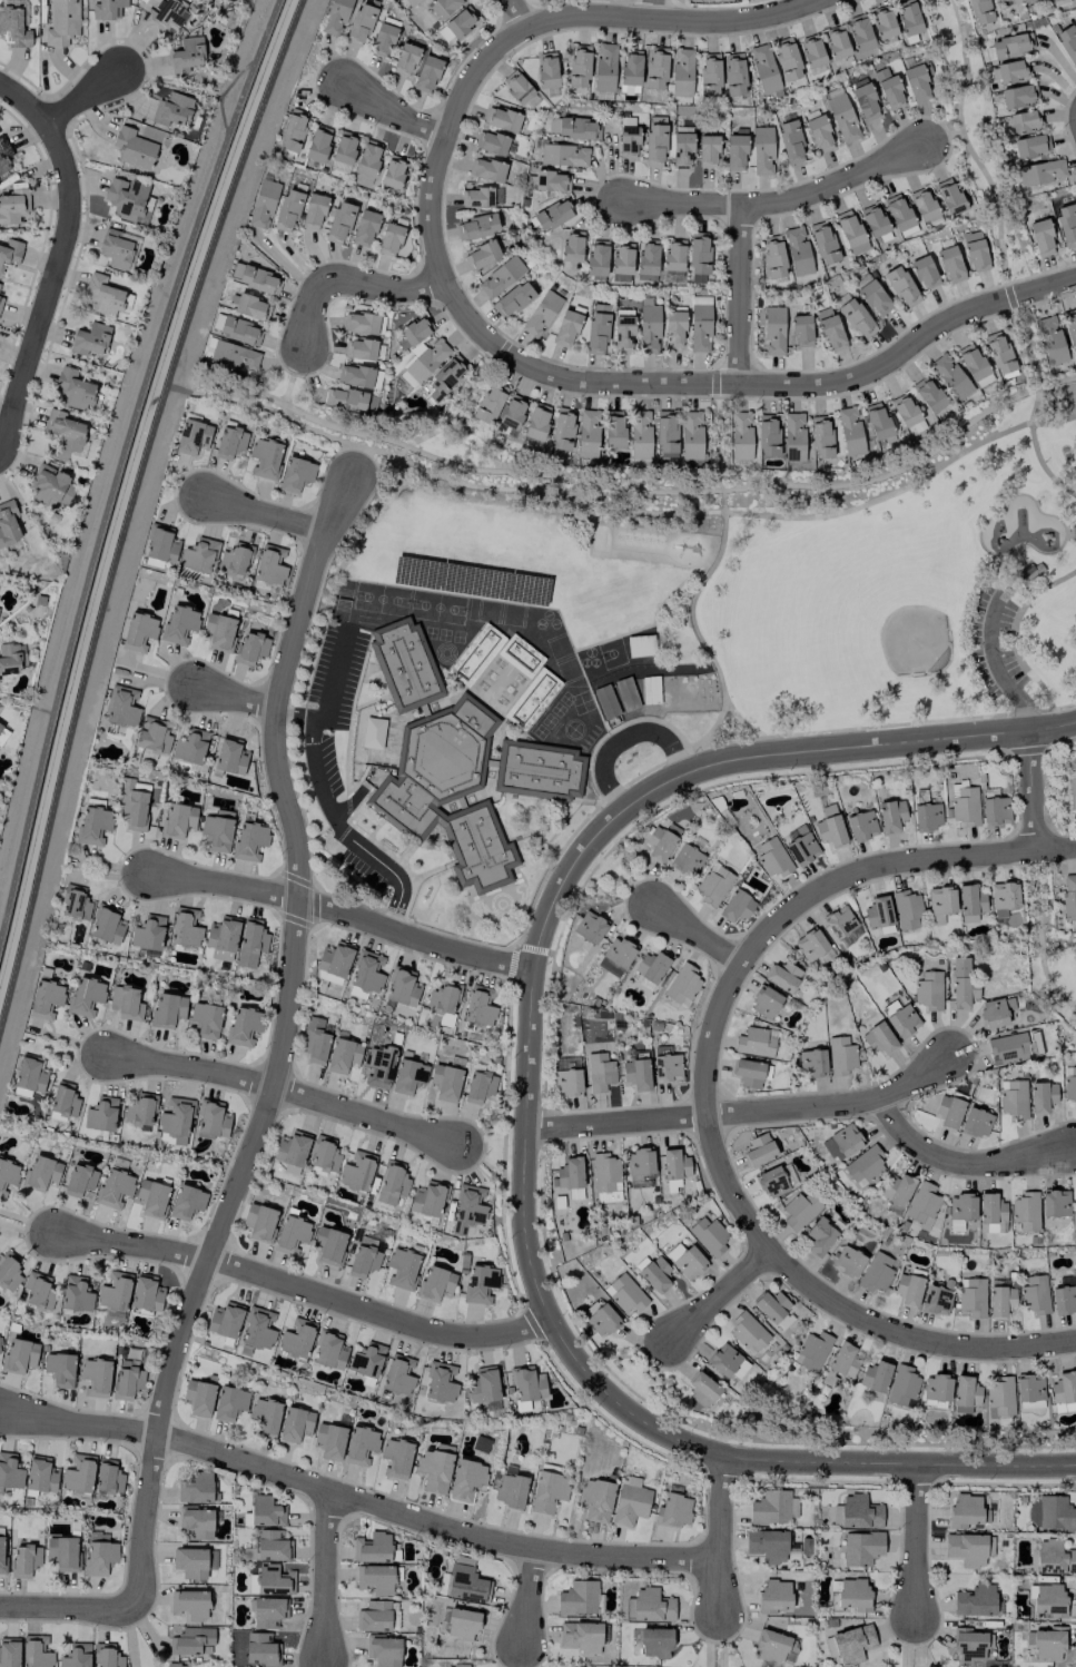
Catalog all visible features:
building: (995, 0)
building: (1023, 0)
building: (409, 1)
building: (1056, 2)
building: (442, 8)
road: (655, 8)
building: (107, 9)
building: (978, 11)
road: (517, 12)
building: (164, 16)
road: (665, 16)
building: (335, 17)
building: (907, 17)
building: (460, 21)
building: (882, 21)
building: (61, 22)
building: (359, 24)
building: (443, 32)
building: (859, 32)
building: (382, 39)
building: (836, 42)
building: (1067, 43)
building: (1011, 45)
building: (811, 50)
building: (186, 55)
building: (404, 59)
building: (786, 59)
building: (578, 66)
building: (604, 67)
building: (654, 67)
building: (762, 68)
building: (546, 69)
building: (1010, 70)
building: (629, 71)
building: (681, 71)
building: (426, 73)
building: (709, 73)
building: (733, 73)
road: (167, 82)
building: (916, 82)
building: (516, 86)
building: (888, 89)
road: (219, 92)
road: (80, 95)
building: (1018, 95)
building: (865, 100)
road: (22, 102)
building: (171, 109)
road: (391, 114)
building: (842, 118)
building: (501, 119)
building: (1024, 120)
building: (578, 128)
building: (293, 129)
building: (818, 134)
road: (443, 137)
building: (628, 140)
building: (790, 141)
building: (490, 142)
building: (317, 144)
building: (654, 145)
building: (1030, 146)
building: (132, 148)
building: (681, 149)
building: (707, 149)
building: (736, 150)
building: (761, 150)
building: (343, 151)
building: (3, 155)
building: (563, 155)
building: (367, 158)
building: (486, 169)
building: (392, 171)
building: (1039, 172)
building: (551, 180)
road: (229, 187)
road: (991, 191)
building: (948, 196)
building: (476, 197)
building: (127, 198)
road: (778, 201)
building: (263, 203)
building: (921, 204)
building: (13, 206)
building: (287, 210)
building: (313, 210)
building: (897, 211)
building: (552, 215)
building: (872, 219)
building: (338, 223)
building: (1066, 224)
building: (476, 226)
building: (364, 227)
building: (850, 231)
building: (389, 237)
building: (1040, 237)
building: (822, 241)
building: (571, 246)
building: (117, 248)
building: (797, 250)
building: (10, 251)
building: (974, 251)
building: (698, 253)
building: (672, 254)
building: (481, 255)
building: (596, 257)
building: (621, 257)
building: (772, 257)
building: (646, 259)
building: (949, 264)
building: (235, 270)
building: (922, 272)
building: (500, 276)
building: (257, 279)
road: (50, 285)
building: (900, 286)
road: (381, 288)
road: (739, 294)
building: (102, 295)
building: (873, 297)
building: (0, 299)
building: (513, 299)
building: (249, 306)
road: (307, 313)
building: (540, 314)
building: (855, 316)
building: (359, 322)
building: (699, 327)
building: (1070, 327)
building: (565, 328)
building: (596, 328)
building: (648, 328)
building: (673, 328)
building: (829, 328)
building: (236, 329)
building: (800, 329)
building: (772, 331)
building: (622, 332)
building: (412, 333)
building: (89, 339)
building: (1052, 343)
building: (362, 348)
building: (998, 352)
building: (234, 356)
building: (423, 362)
building: (973, 365)
building: (354, 375)
building: (949, 376)
road: (288, 377)
building: (443, 378)
road: (751, 383)
building: (73, 388)
building: (927, 394)
building: (344, 400)
building: (488, 402)
building: (904, 410)
building: (511, 412)
building: (536, 421)
building: (876, 421)
road: (435, 427)
building: (65, 430)
building: (562, 430)
building: (849, 431)
building: (665, 432)
building: (586, 433)
building: (639, 434)
building: (690, 434)
building: (739, 435)
building: (767, 435)
building: (191, 436)
building: (792, 436)
building: (820, 436)
building: (230, 441)
road: (719, 443)
road: (1034, 445)
building: (265, 457)
road: (119, 461)
road: (440, 470)
building: (295, 474)
building: (50, 485)
road: (721, 501)
road: (264, 514)
building: (8, 523)
building: (161, 544)
building: (198, 555)
building: (235, 559)
building: (269, 565)
park: (839, 572)
building: (1028, 573)
park: (379, 598)
park: (900, 599)
road: (1024, 605)
park: (436, 606)
building: (179, 624)
road: (692, 624)
building: (138, 631)
building: (218, 631)
park: (911, 640)
road: (988, 643)
parking lot: (991, 643)
building: (639, 645)
building: (250, 648)
building: (474, 653)
building: (519, 655)
building: (9, 658)
road: (1031, 675)
road: (333, 677)
building: (626, 693)
road: (77, 694)
building: (531, 698)
road: (234, 699)
building: (604, 701)
road: (27, 704)
building: (120, 707)
road: (1023, 707)
road: (295, 713)
building: (0, 724)
road: (622, 736)
building: (152, 738)
building: (190, 747)
building: (229, 756)
building: (455, 763)
road: (1030, 790)
building: (1072, 792)
building: (963, 803)
building: (132, 805)
building: (995, 810)
building: (890, 815)
building: (926, 816)
building: (178, 819)
building: (92, 825)
building: (829, 826)
building: (861, 826)
building: (216, 832)
road: (339, 833)
building: (248, 840)
building: (658, 845)
building: (801, 849)
building: (772, 857)
building: (685, 859)
road: (892, 865)
building: (713, 885)
building: (1068, 896)
building: (1003, 898)
building: (73, 902)
building: (939, 902)
building: (969, 902)
building: (737, 906)
building: (906, 909)
building: (877, 911)
road: (338, 913)
building: (838, 921)
building: (106, 924)
building: (589, 927)
building: (184, 929)
building: (147, 933)
road: (1038, 935)
road: (697, 936)
building: (221, 938)
building: (250, 941)
building: (810, 944)
building: (615, 956)
building: (335, 959)
building: (650, 968)
building: (366, 971)
building: (782, 976)
building: (682, 984)
building: (960, 984)
building: (402, 987)
building: (928, 990)
building: (85, 996)
building: (45, 998)
building: (442, 999)
building: (766, 1002)
building: (125, 1003)
building: (478, 1007)
building: (888, 1007)
building: (167, 1009)
building: (994, 1012)
building: (205, 1019)
building: (901, 1020)
building: (243, 1026)
building: (878, 1038)
building: (314, 1040)
building: (753, 1042)
road: (279, 1046)
building: (1014, 1046)
building: (342, 1055)
building: (840, 1055)
building: (809, 1062)
building: (378, 1065)
building: (665, 1065)
building: (599, 1072)
building: (636, 1072)
building: (29, 1076)
building: (407, 1076)
building: (445, 1082)
building: (1070, 1085)
building: (478, 1086)
road: (283, 1089)
building: (1042, 1096)
building: (1011, 1097)
building: (63, 1102)
road: (523, 1108)
building: (139, 1109)
road: (705, 1111)
building: (948, 1112)
building: (100, 1114)
road: (741, 1115)
building: (211, 1118)
building: (174, 1121)
building: (975, 1123)
building: (840, 1142)
building: (290, 1148)
building: (759, 1150)
building: (323, 1155)
building: (639, 1163)
building: (863, 1165)
building: (673, 1167)
road: (965, 1167)
building: (356, 1171)
building: (41, 1173)
building: (7, 1175)
building: (570, 1176)
building: (605, 1177)
building: (79, 1178)
building: (773, 1181)
building: (391, 1183)
building: (113, 1187)
building: (898, 1187)
building: (151, 1197)
building: (427, 1200)
building: (186, 1202)
building: (1054, 1202)
building: (1075, 1204)
building: (921, 1205)
building: (466, 1209)
building: (990, 1209)
building: (799, 1210)
building: (959, 1210)
building: (1025, 1211)
building: (258, 1221)
building: (290, 1234)
building: (708, 1235)
building: (819, 1236)
building: (328, 1244)
building: (364, 1257)
building: (684, 1260)
building: (847, 1262)
building: (402, 1267)
building: (8, 1271)
building: (654, 1273)
building: (875, 1273)
building: (1066, 1281)
building: (435, 1283)
building: (480, 1283)
road: (302, 1290)
building: (908, 1290)
building: (37, 1291)
building: (113, 1291)
building: (146, 1293)
building: (624, 1293)
building: (76, 1294)
building: (1034, 1294)
road: (719, 1295)
building: (971, 1296)
building: (1064, 1299)
building: (936, 1300)
building: (999, 1301)
building: (773, 1309)
building: (225, 1320)
building: (601, 1320)
building: (257, 1329)
building: (748, 1331)
building: (296, 1338)
road: (909, 1340)
building: (328, 1350)
building: (811, 1350)
building: (19, 1355)
building: (366, 1360)
building: (842, 1360)
building: (725, 1361)
building: (59, 1369)
building: (396, 1375)
building: (873, 1375)
building: (95, 1377)
building: (127, 1380)
building: (440, 1382)
building: (526, 1383)
building: (483, 1384)
building: (901, 1384)
building: (936, 1388)
building: (1028, 1388)
building: (1063, 1388)
building: (701, 1389)
building: (964, 1393)
building: (999, 1395)
building: (198, 1398)
building: (229, 1403)
building: (265, 1416)
building: (294, 1424)
building: (329, 1440)
building: (359, 1444)
building: (396, 1458)
building: (433, 1470)
building: (9, 1471)
building: (78, 1473)
building: (40, 1474)
building: (108, 1478)
building: (465, 1479)
building: (194, 1487)
building: (510, 1490)
building: (547, 1491)
road: (354, 1500)
building: (595, 1500)
building: (630, 1503)
building: (770, 1507)
building: (964, 1509)
building: (672, 1510)
building: (265, 1511)
building: (856, 1512)
building: (1052, 1513)
building: (196, 1522)
road: (715, 1535)
road: (914, 1540)
building: (272, 1545)
building: (767, 1545)
building: (373, 1548)
building: (860, 1548)
building: (966, 1549)
building: (61, 1552)
building: (1, 1555)
building: (98, 1557)
building: (1053, 1557)
building: (23, 1559)
building: (194, 1561)
road: (322, 1575)
building: (375, 1578)
building: (273, 1580)
building: (466, 1585)
building: (853, 1594)
road: (525, 1596)
building: (773, 1596)
building: (579, 1598)
building: (1048, 1599)
building: (975, 1600)
building: (189, 1605)
building: (649, 1606)
road: (66, 1608)
building: (266, 1611)
building: (374, 1616)
building: (462, 1624)
building: (581, 1636)
building: (190, 1640)
building: (654, 1641)
building: (1048, 1643)
building: (851, 1644)
building: (968, 1645)
building: (772, 1646)
building: (259, 1648)
building: (9, 1651)
building: (34, 1651)
building: (383, 1651)
building: (76, 1656)
building: (107, 1656)
building: (176, 1665)
building: (455, 1666)

